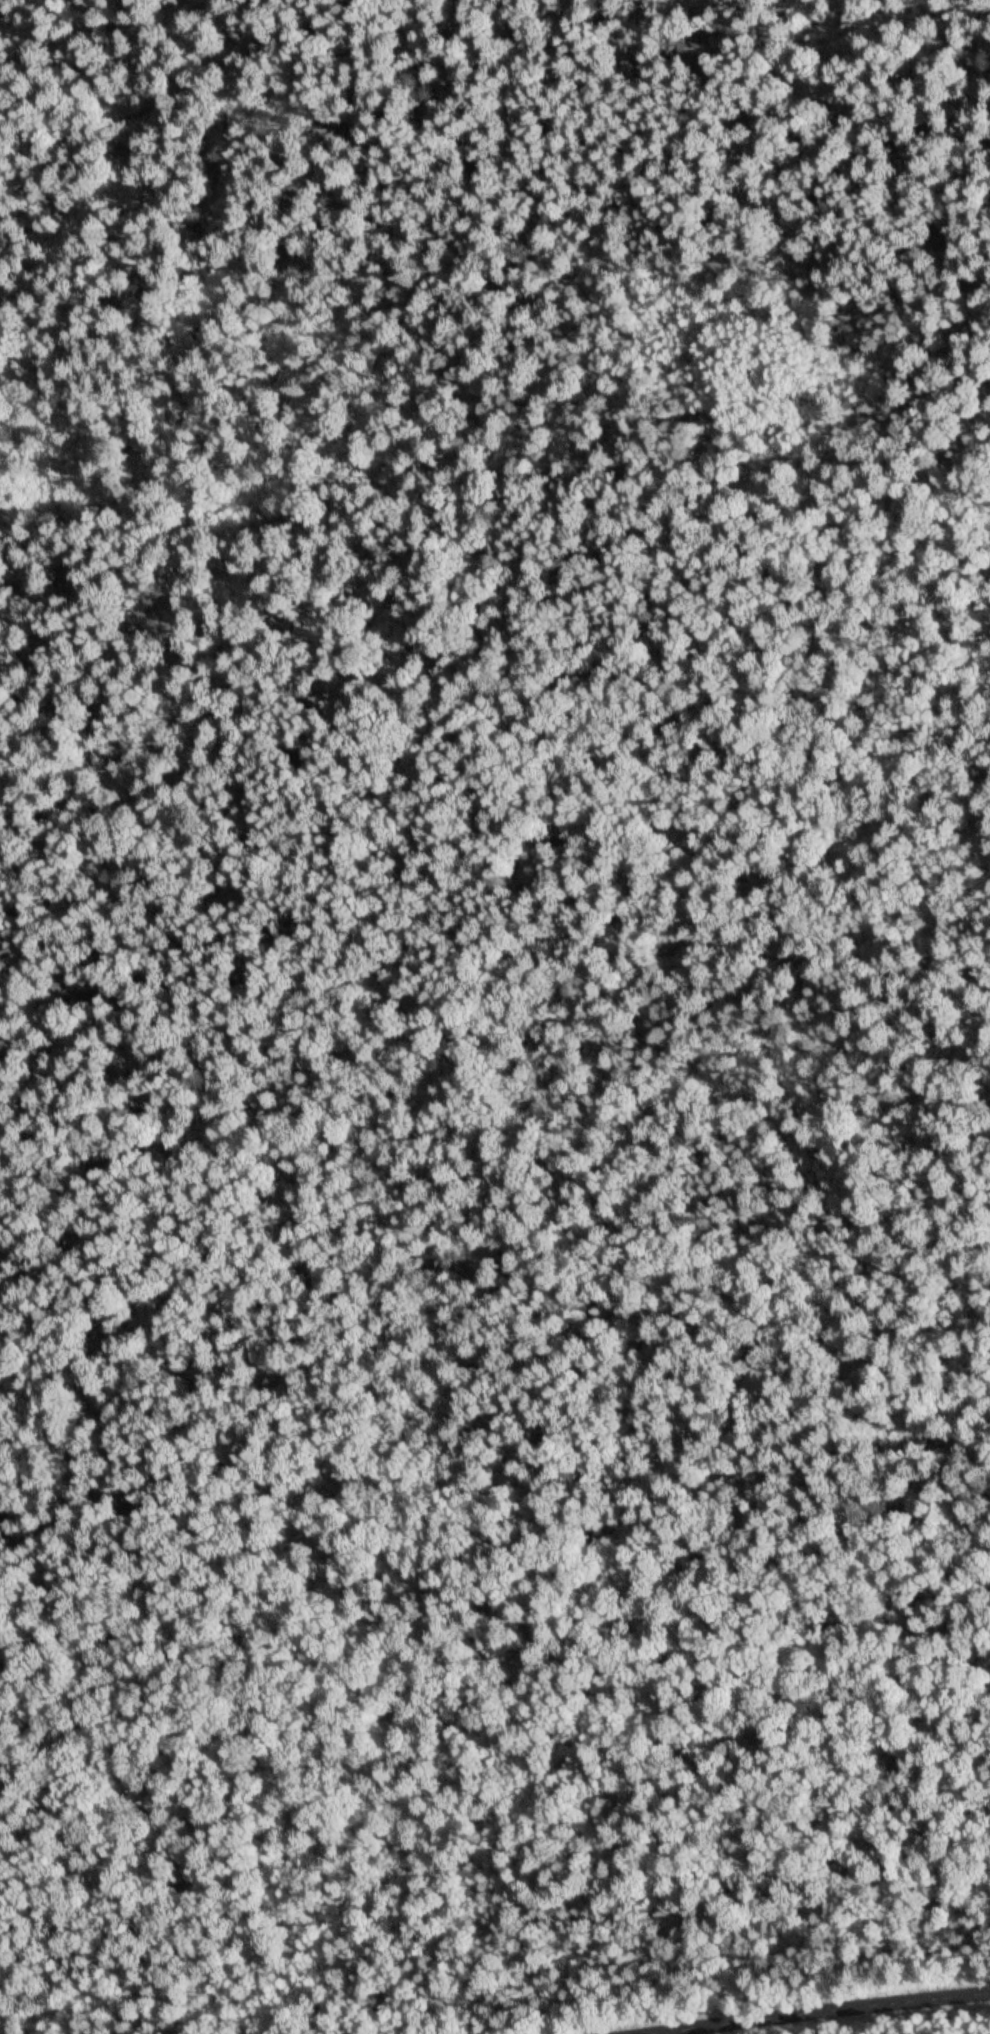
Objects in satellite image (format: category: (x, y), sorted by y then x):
road: (823, 2010)

